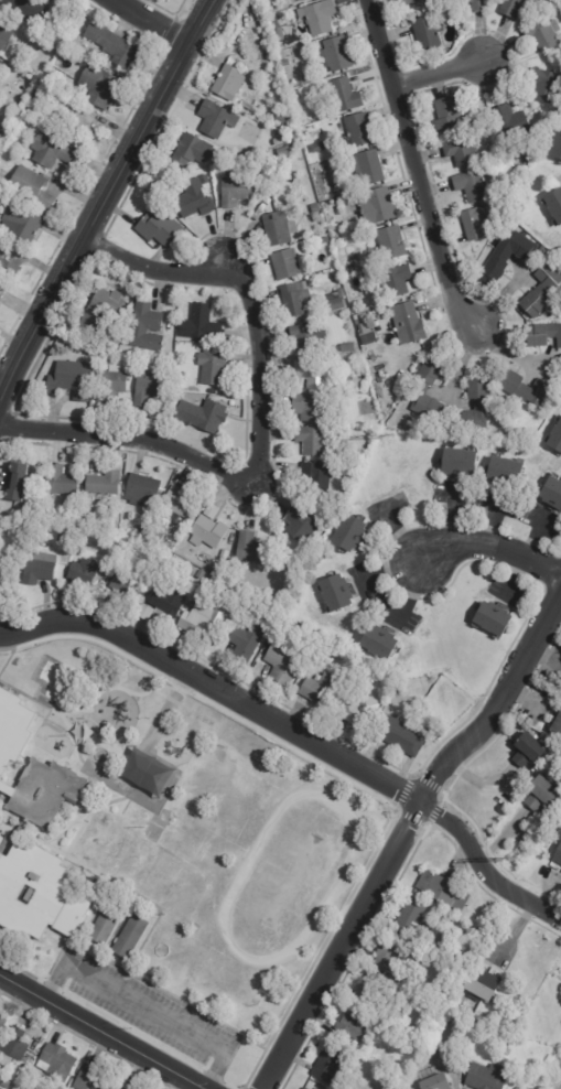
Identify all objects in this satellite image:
building: (300, 0)
building: (417, 2)
building: (474, 4)
building: (514, 7)
building: (268, 8)
building: (31, 9)
building: (316, 18)
road: (152, 21)
building: (274, 25)
building: (9, 28)
building: (63, 30)
building: (427, 32)
building: (542, 34)
building: (114, 44)
building: (335, 55)
building: (0, 56)
building: (283, 63)
building: (2, 64)
road: (439, 71)
building: (226, 83)
building: (101, 85)
building: (543, 85)
building: (345, 95)
building: (13, 99)
building: (255, 110)
building: (76, 114)
building: (449, 114)
building: (214, 119)
building: (1, 120)
building: (510, 123)
building: (357, 130)
building: (290, 133)
building: (278, 142)
building: (557, 145)
building: (4, 147)
building: (316, 148)
building: (56, 149)
building: (191, 151)
building: (283, 152)
building: (461, 153)
building: (0, 157)
building: (368, 166)
road: (414, 171)
building: (504, 174)
building: (471, 186)
building: (35, 187)
building: (164, 191)
building: (236, 192)
road: (101, 198)
building: (194, 200)
building: (505, 201)
building: (553, 205)
building: (376, 206)
building: (313, 208)
building: (25, 222)
building: (474, 224)
building: (159, 228)
building: (360, 228)
building: (277, 229)
building: (345, 233)
building: (324, 240)
building: (390, 244)
building: (548, 255)
building: (507, 257)
building: (9, 261)
building: (284, 265)
building: (396, 281)
building: (540, 290)
building: (339, 293)
building: (3, 294)
building: (352, 295)
building: (184, 298)
building: (294, 299)
building: (336, 304)
building: (100, 311)
building: (360, 317)
building: (407, 324)
building: (198, 325)
building: (145, 328)
building: (365, 334)
building: (542, 335)
building: (308, 338)
building: (347, 347)
building: (332, 351)
building: (387, 363)
building: (212, 367)
building: (313, 375)
building: (71, 380)
building: (111, 385)
building: (148, 389)
building: (425, 389)
building: (528, 389)
building: (213, 391)
building: (309, 408)
building: (476, 408)
building: (201, 416)
building: (539, 416)
road: (260, 427)
power tower: (386, 438)
building: (555, 439)
building: (311, 441)
building: (458, 463)
building: (504, 471)
building: (316, 478)
building: (17, 482)
building: (172, 482)
building: (62, 483)
building: (101, 484)
building: (141, 490)
building: (552, 493)
building: (180, 504)
building: (299, 526)
building: (139, 529)
building: (346, 531)
building: (207, 533)
building: (155, 536)
building: (64, 538)
road: (488, 549)
building: (250, 550)
building: (158, 557)
building: (13, 558)
building: (37, 569)
building: (213, 571)
building: (192, 572)
building: (80, 574)
building: (198, 575)
building: (2, 582)
building: (129, 589)
building: (334, 590)
building: (272, 592)
building: (235, 593)
building: (166, 603)
building: (143, 613)
building: (489, 615)
building: (281, 622)
building: (199, 624)
building: (296, 629)
road: (90, 638)
building: (312, 639)
building: (378, 641)
building: (241, 646)
road: (7, 660)
building: (281, 660)
road: (107, 687)
road: (179, 687)
building: (319, 691)
road: (172, 701)
road: (165, 710)
building: (357, 712)
road: (64, 720)
building: (557, 725)
building: (12, 726)
road: (295, 734)
building: (401, 737)
road: (78, 748)
building: (528, 751)
building: (552, 762)
building: (43, 791)
building: (540, 794)
road: (99, 804)
road: (125, 807)
road: (169, 811)
building: (559, 812)
road: (19, 831)
road: (78, 831)
road: (402, 834)
road: (7, 838)
building: (1, 839)
park: (201, 839)
road: (378, 844)
building: (558, 855)
power tower: (507, 862)
road: (114, 875)
track: (341, 877)
building: (442, 891)
building: (37, 893)
road: (91, 910)
building: (409, 916)
building: (477, 923)
building: (104, 924)
building: (129, 937)
road: (32, 948)
building: (456, 951)
road: (118, 957)
building: (393, 958)
road: (42, 980)
building: (481, 984)
road: (51, 986)
road: (157, 989)
building: (370, 992)
parking lot: (143, 1010)
road: (145, 1011)
building: (2, 1023)
building: (349, 1028)
road: (103, 1032)
road: (131, 1032)
building: (11, 1046)
building: (435, 1048)
building: (348, 1049)
building: (55, 1063)
building: (326, 1065)
road: (213, 1077)
building: (485, 1077)
building: (90, 1079)
building: (435, 1082)
road: (228, 1086)
building: (121, 1088)
building: (304, 1088)
building: (315, 1088)

